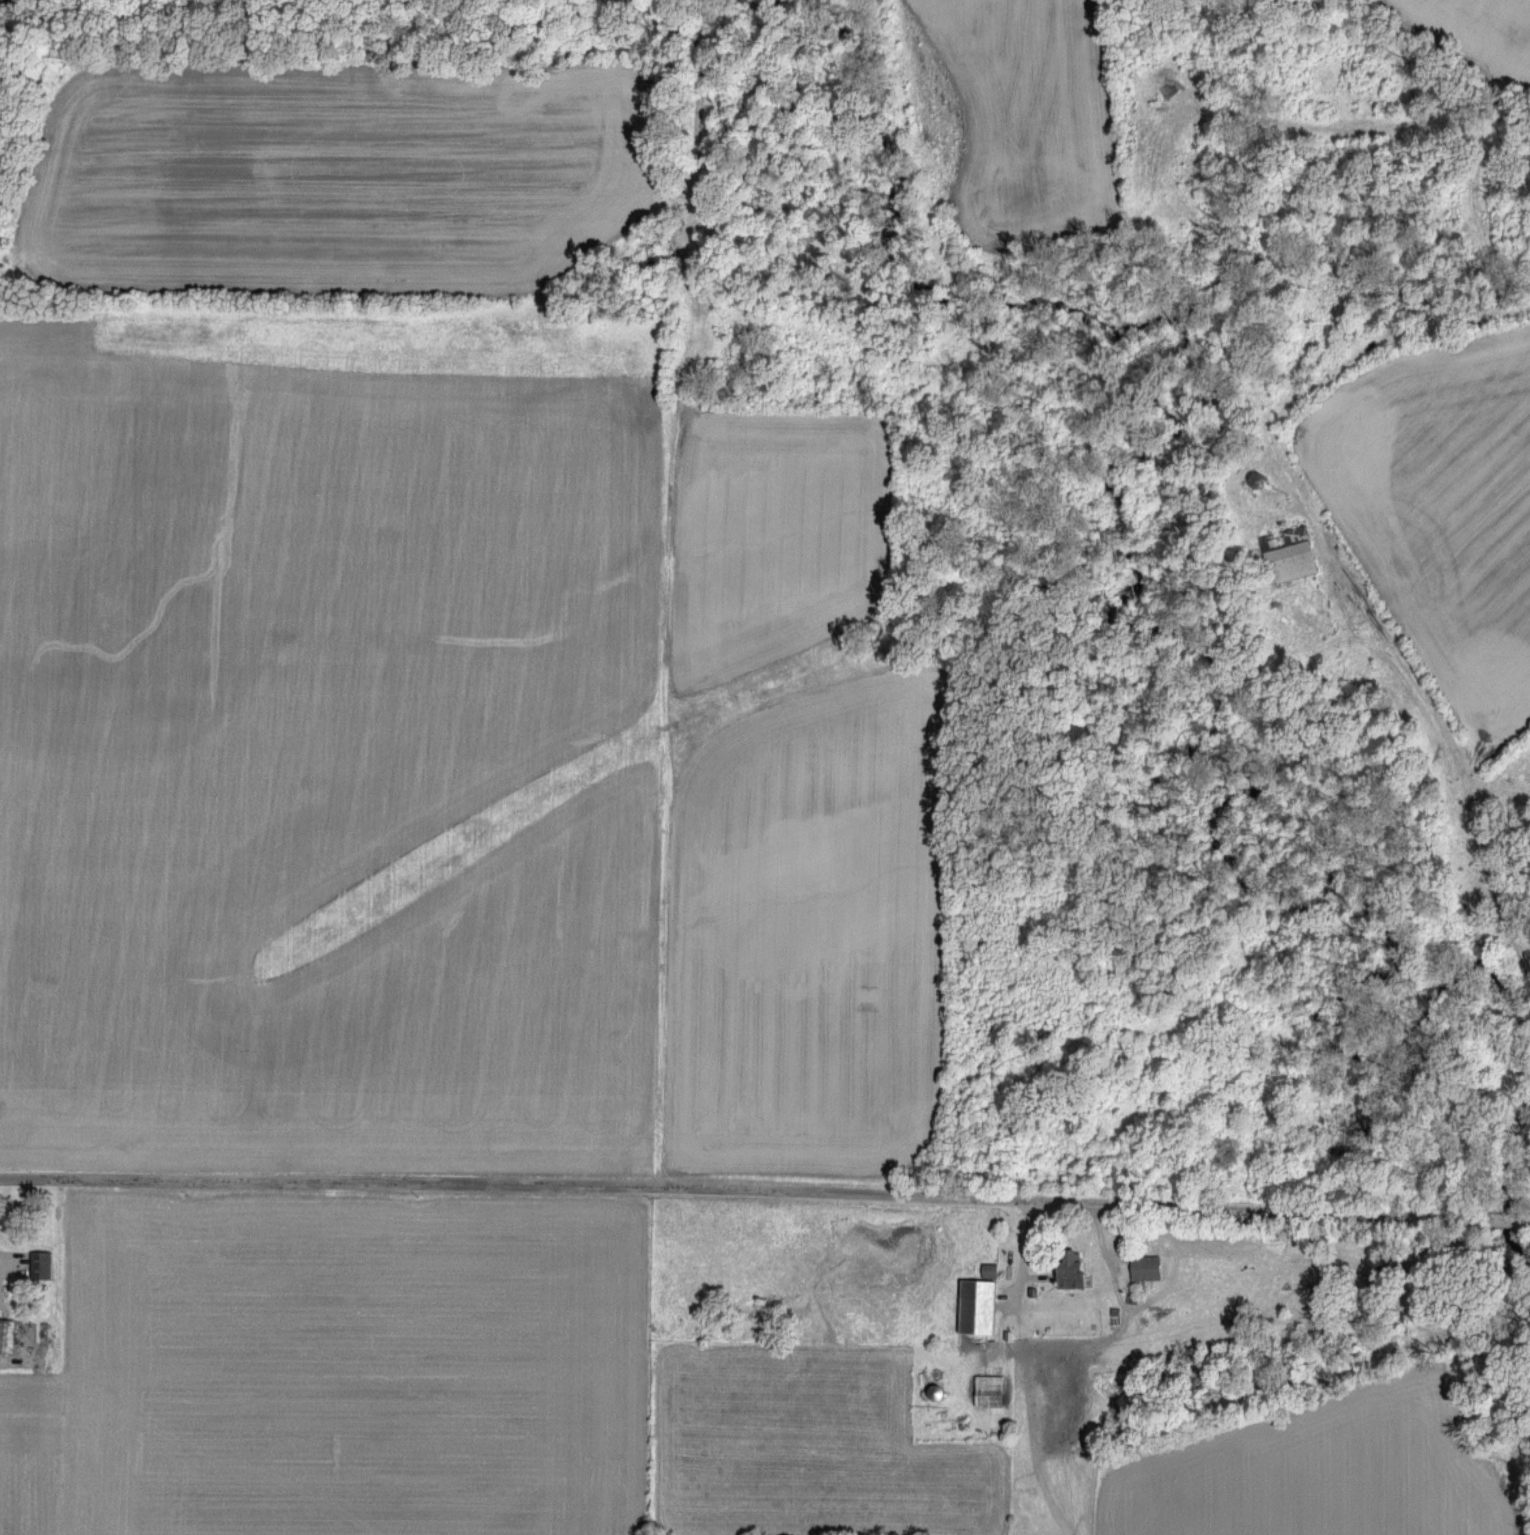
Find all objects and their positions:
road: (765, 1191)
road: (1018, 1253)
building: (42, 1264)
building: (1147, 1266)
building: (1072, 1267)
building: (990, 1268)
building: (979, 1305)
building: (990, 1384)

